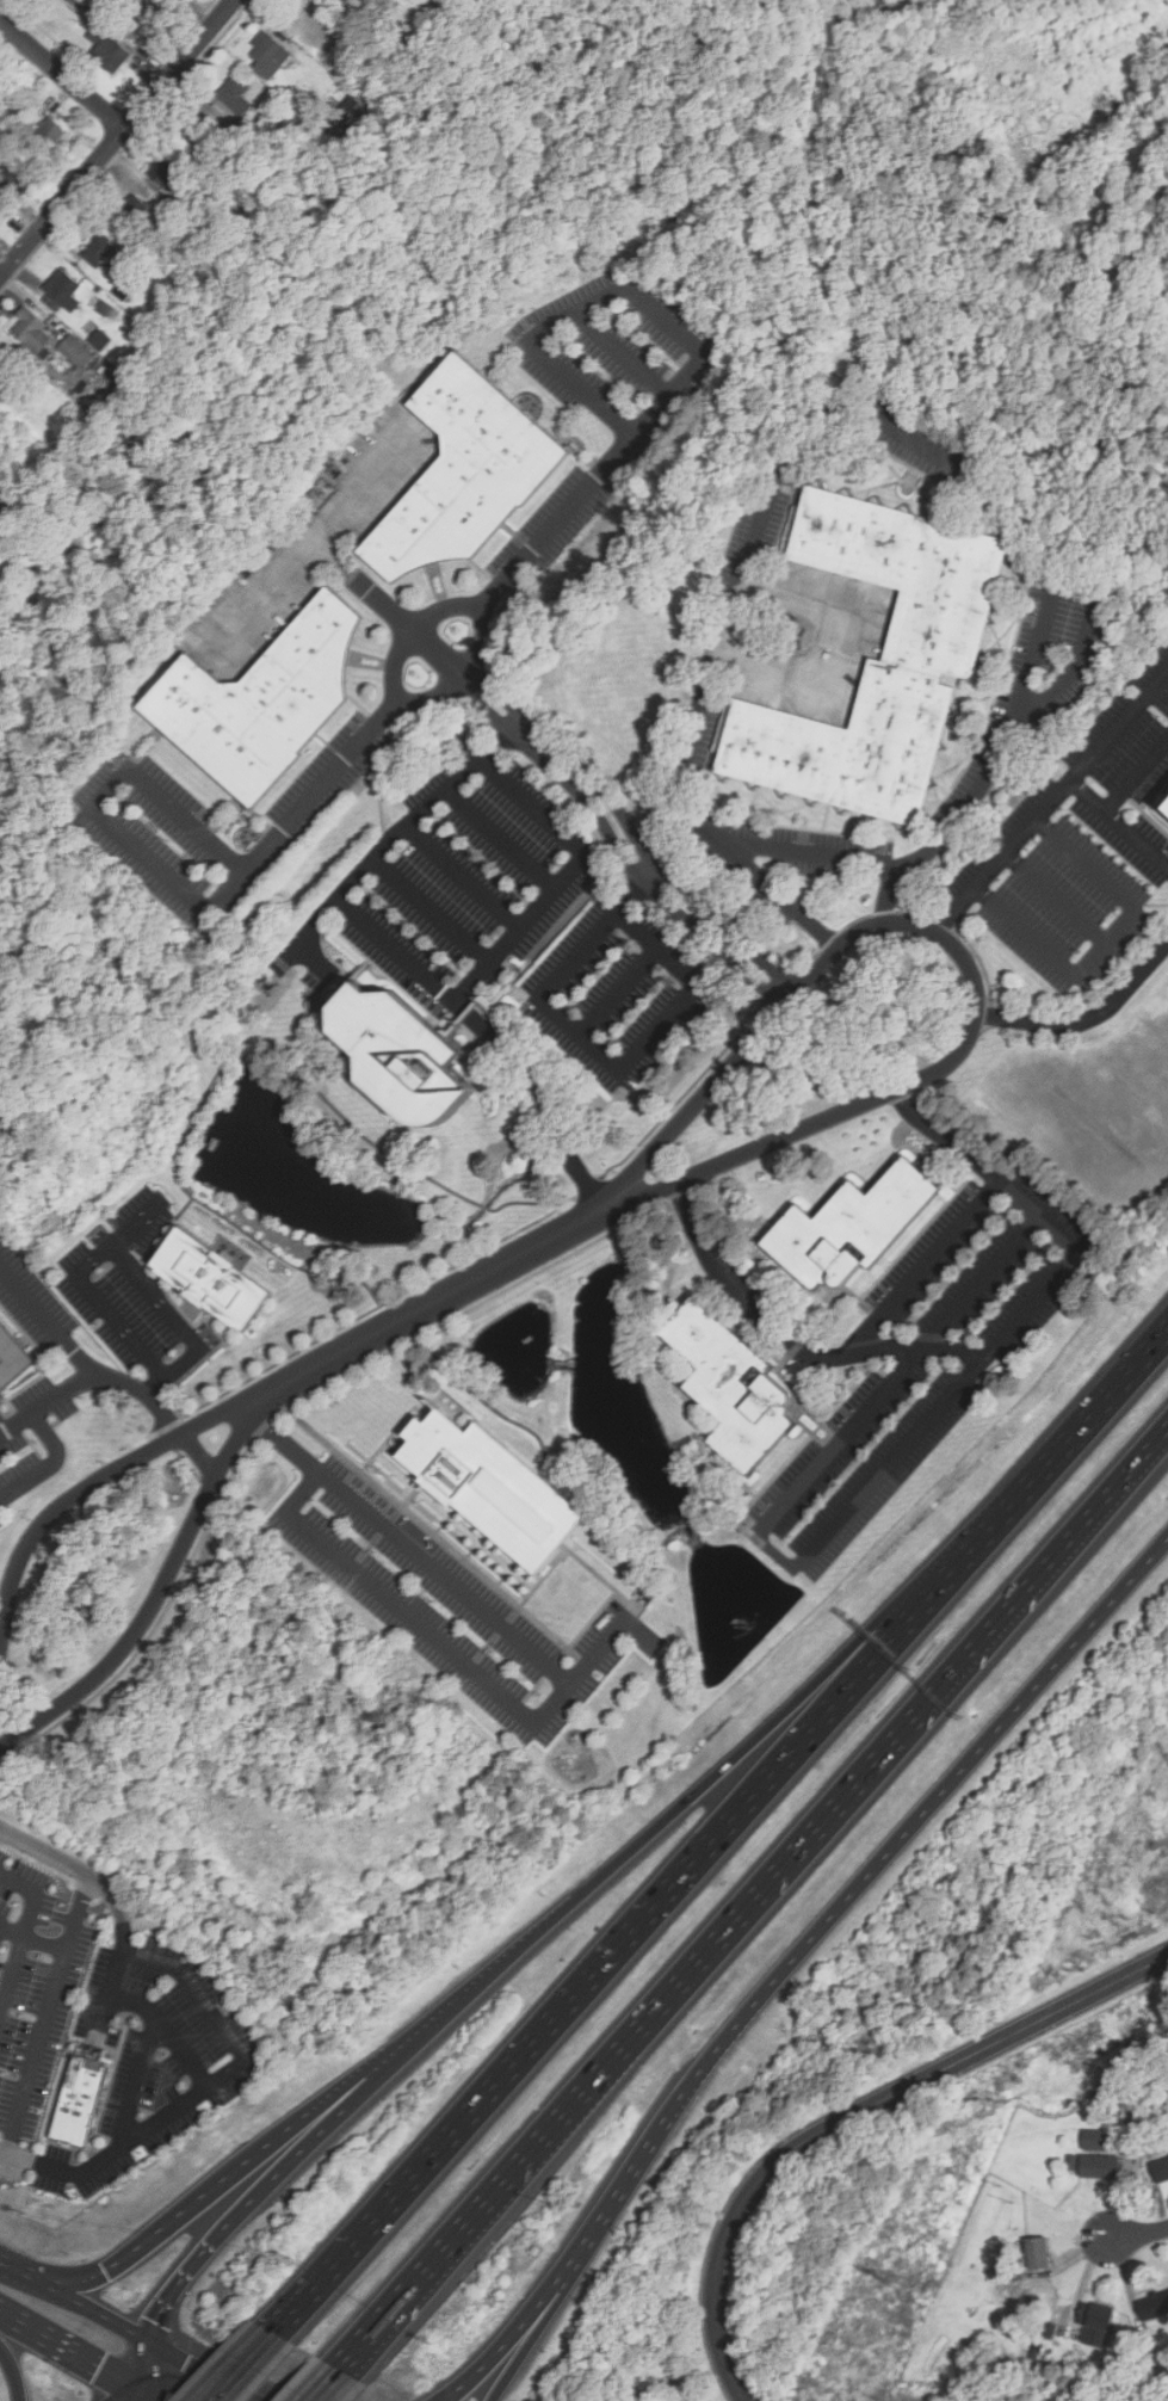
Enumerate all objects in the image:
building: (147, 16)
building: (107, 49)
building: (271, 51)
road: (62, 74)
river: (1076, 84)
building: (235, 93)
building: (198, 129)
building: (49, 134)
road: (117, 137)
building: (166, 169)
building: (11, 177)
building: (134, 210)
building: (99, 249)
building: (63, 290)
building: (106, 309)
building: (32, 331)
building: (101, 340)
building: (76, 351)
road: (697, 351)
road: (624, 354)
building: (2, 364)
road: (854, 409)
building: (464, 471)
road: (350, 505)
road: (315, 549)
road: (441, 612)
building: (940, 623)
road: (478, 644)
road: (842, 648)
road: (1081, 656)
road: (398, 661)
road: (466, 679)
road: (435, 693)
building: (261, 700)
road: (1135, 773)
road: (1048, 800)
building: (1166, 806)
road: (1117, 825)
road: (500, 841)
road: (464, 878)
road: (651, 878)
road: (184, 885)
road: (781, 896)
road: (1053, 896)
road: (431, 913)
road: (1105, 942)
road: (962, 956)
road: (428, 981)
road: (618, 992)
road: (1088, 1020)
building: (403, 1056)
road: (606, 1057)
road: (543, 1093)
road: (944, 1142)
road: (1039, 1218)
road: (135, 1223)
building: (852, 1227)
road: (91, 1257)
road: (925, 1270)
building: (209, 1279)
road: (983, 1282)
road: (737, 1297)
road: (426, 1308)
road: (47, 1321)
road: (917, 1345)
building: (11, 1357)
road: (173, 1366)
road: (122, 1378)
building: (740, 1382)
road: (939, 1407)
road: (1076, 1431)
road: (826, 1459)
road: (50, 1463)
building: (489, 1488)
road: (85, 1490)
road: (1049, 1564)
road: (452, 1585)
road: (155, 1599)
road: (409, 1618)
fountain: (740, 1627)
road: (733, 1759)
road: (69, 1864)
road: (876, 1865)
road: (35, 1895)
road: (12, 1932)
road: (629, 1933)
road: (45, 1944)
road: (12, 1980)
road: (116, 1980)
road: (452, 2011)
road: (47, 2014)
road: (167, 2032)
road: (632, 2036)
road: (373, 2070)
road: (385, 2073)
road: (138, 2084)
building: (85, 2094)
road: (200, 2096)
road: (853, 2115)
building: (1095, 2141)
building: (1073, 2164)
building: (1102, 2169)
building: (1161, 2172)
road: (181, 2216)
road: (234, 2217)
road: (1137, 2235)
road: (588, 2239)
building: (1038, 2255)
traffic signals: (104, 2275)
power tower: (894, 2282)
building: (1027, 2301)
road: (73, 2302)
building: (1152, 2308)
building: (1096, 2325)
building: (1049, 2333)
road: (530, 2334)
road: (512, 2338)
traffic signals: (144, 2343)
road: (261, 2346)
road: (67, 2351)
building: (1036, 2356)
road: (137, 2366)
building: (963, 2366)
road: (186, 2374)
road: (12, 2375)
road: (161, 2380)
road: (223, 2381)
road: (231, 2381)
road: (323, 2385)
traffic signals: (135, 2391)
road: (128, 2396)
road: (143, 2396)

